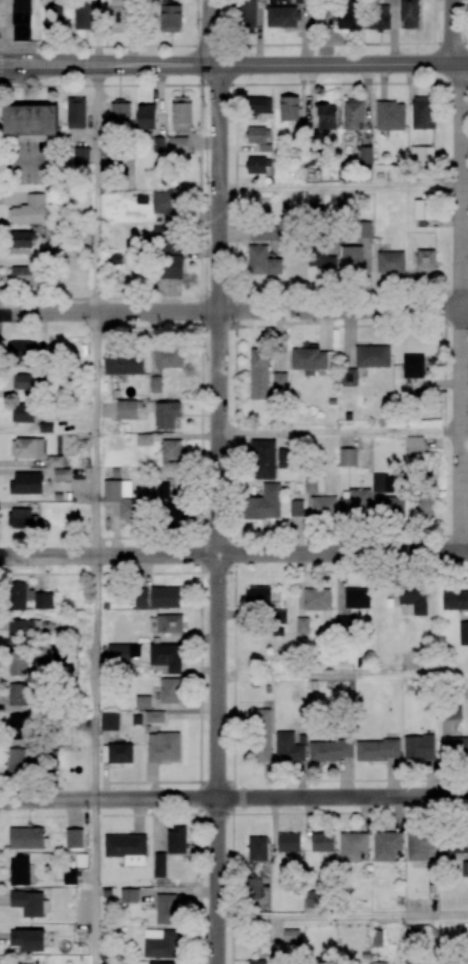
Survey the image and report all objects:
building: (301, 1)
building: (409, 14)
building: (84, 15)
building: (118, 15)
building: (246, 15)
building: (282, 16)
building: (349, 16)
building: (170, 17)
building: (379, 17)
building: (52, 18)
building: (21, 20)
road: (433, 21)
road: (453, 31)
road: (210, 32)
road: (450, 43)
road: (321, 44)
road: (104, 46)
road: (0, 63)
road: (339, 64)
road: (104, 65)
road: (233, 83)
building: (260, 106)
building: (288, 108)
building: (76, 112)
building: (120, 112)
building: (352, 113)
building: (421, 113)
building: (181, 114)
building: (145, 116)
building: (390, 116)
building: (326, 117)
building: (29, 120)
building: (258, 135)
building: (159, 144)
building: (178, 146)
building: (365, 154)
building: (81, 155)
building: (421, 158)
building: (256, 165)
road: (97, 188)
road: (465, 188)
road: (341, 190)
building: (165, 206)
building: (31, 209)
building: (423, 209)
building: (364, 229)
building: (264, 233)
building: (21, 238)
building: (166, 239)
building: (321, 258)
building: (351, 258)
building: (113, 259)
building: (262, 261)
building: (425, 261)
building: (390, 262)
building: (171, 266)
building: (21, 276)
road: (462, 308)
road: (233, 310)
building: (22, 350)
building: (169, 355)
building: (372, 356)
building: (311, 360)
building: (123, 364)
building: (413, 366)
building: (259, 372)
building: (348, 377)
building: (28, 382)
building: (279, 382)
building: (157, 383)
building: (126, 409)
building: (22, 413)
building: (166, 414)
road: (343, 432)
road: (97, 434)
building: (144, 439)
building: (415, 445)
building: (27, 447)
building: (173, 450)
building: (348, 457)
building: (263, 458)
building: (56, 460)
building: (63, 473)
building: (381, 482)
building: (26, 483)
building: (314, 485)
building: (163, 491)
building: (123, 499)
building: (263, 503)
building: (356, 503)
building: (425, 505)
building: (323, 506)
building: (391, 506)
building: (296, 508)
building: (175, 514)
road: (219, 515)
building: (21, 518)
road: (233, 554)
building: (19, 596)
building: (258, 596)
building: (165, 597)
building: (140, 598)
building: (357, 598)
building: (414, 598)
building: (317, 599)
building: (43, 600)
building: (455, 600)
building: (279, 616)
building: (169, 623)
building: (344, 623)
building: (302, 625)
building: (24, 629)
building: (463, 633)
building: (43, 652)
building: (122, 652)
building: (167, 656)
building: (18, 663)
road: (343, 676)
road: (96, 678)
building: (169, 691)
building: (19, 694)
building: (143, 702)
building: (453, 710)
building: (154, 717)
building: (109, 721)
building: (19, 726)
building: (261, 735)
building: (457, 746)
building: (163, 747)
building: (288, 747)
building: (419, 748)
building: (330, 750)
building: (377, 750)
building: (119, 753)
building: (16, 760)
road: (233, 797)
building: (26, 838)
building: (73, 838)
building: (176, 840)
building: (288, 842)
building: (322, 842)
building: (454, 844)
building: (124, 845)
building: (386, 845)
building: (352, 846)
building: (421, 846)
building: (257, 848)
building: (159, 865)
building: (464, 869)
building: (19, 870)
building: (69, 875)
road: (94, 882)
building: (128, 895)
building: (27, 903)
building: (167, 908)
road: (343, 918)
building: (291, 936)
building: (28, 939)
building: (160, 943)
building: (410, 961)
building: (162, 962)
building: (255, 962)

